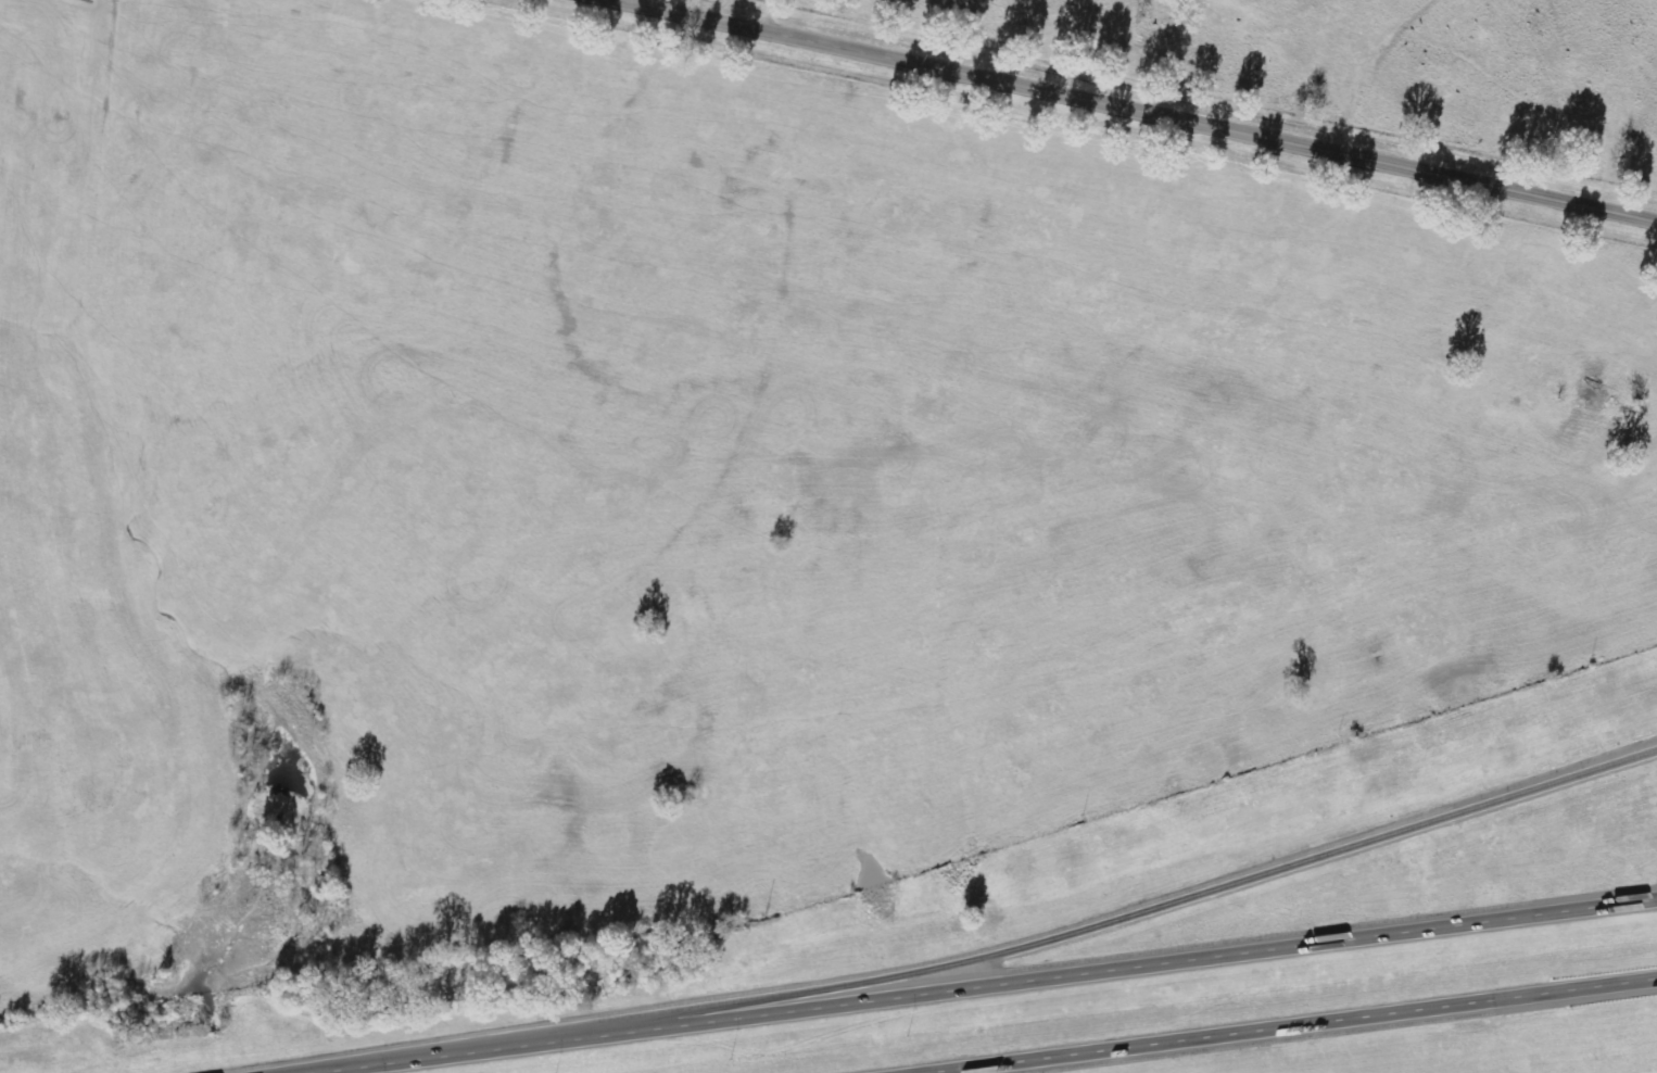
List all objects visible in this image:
road: (1133, 112)
road: (1065, 930)
road: (977, 984)
road: (1286, 1024)

